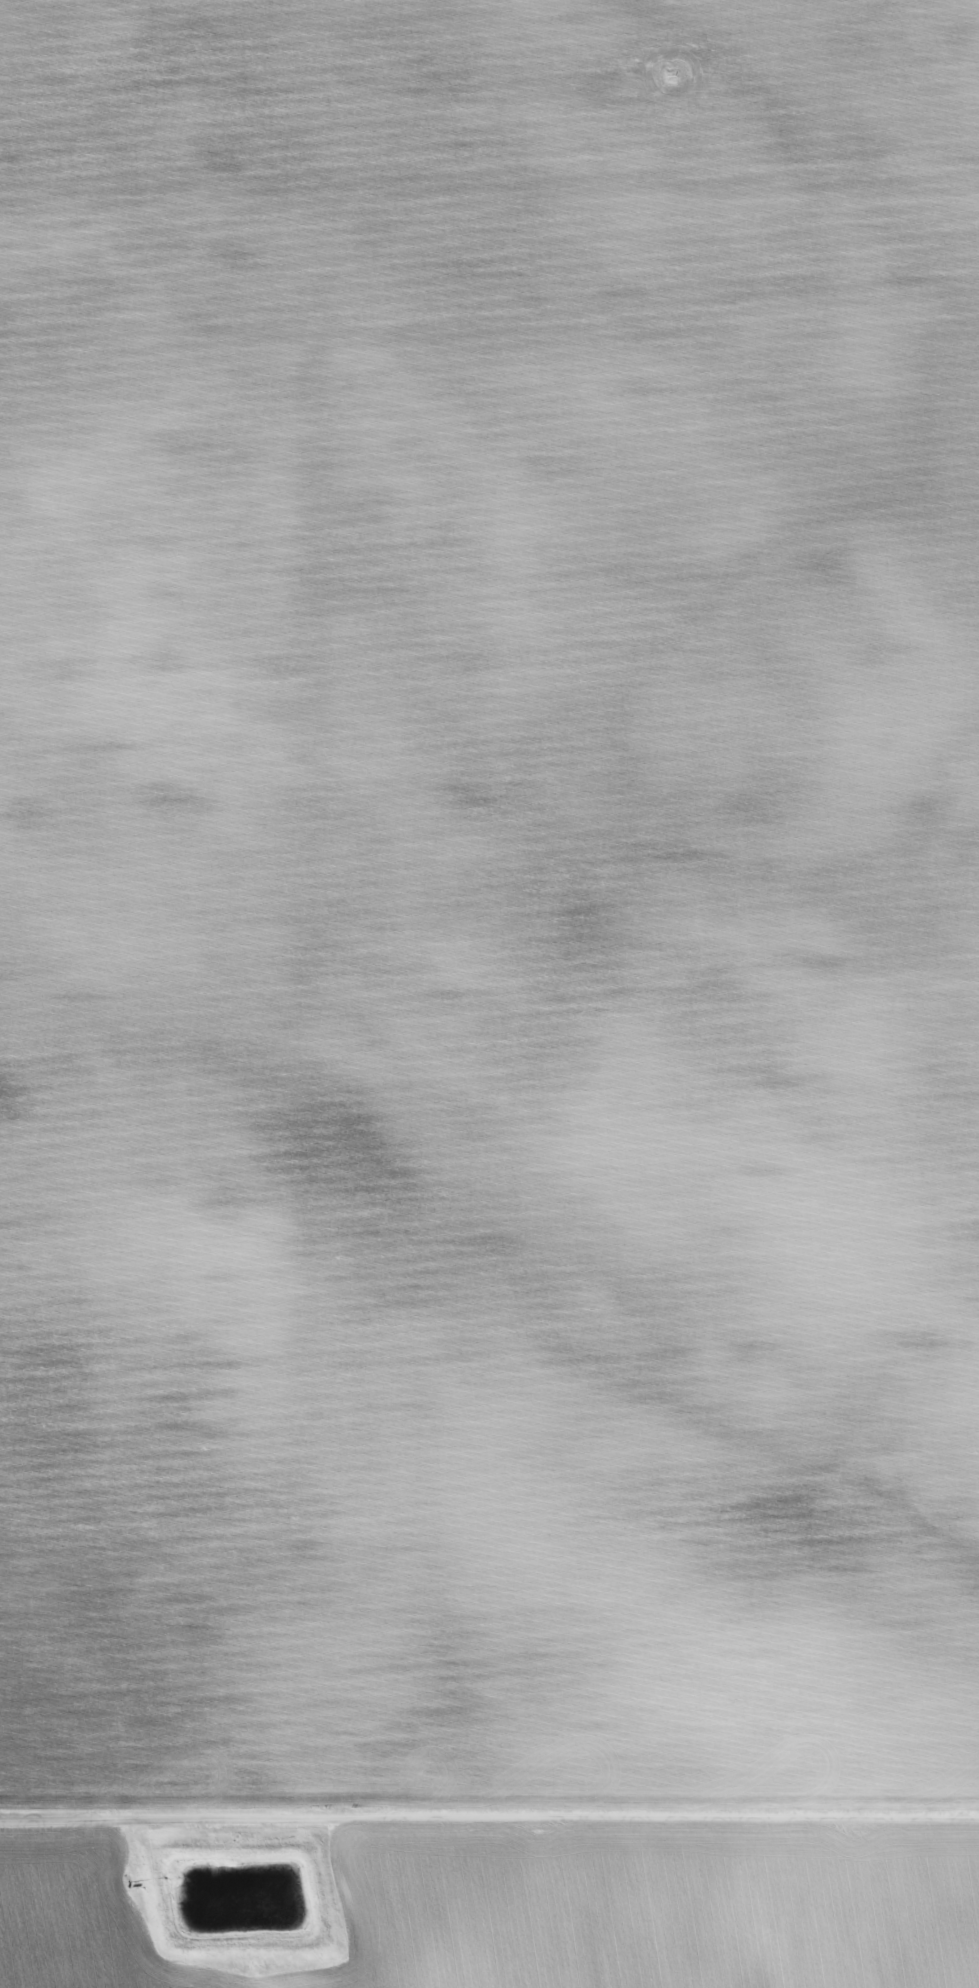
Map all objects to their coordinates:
road: (489, 1822)

